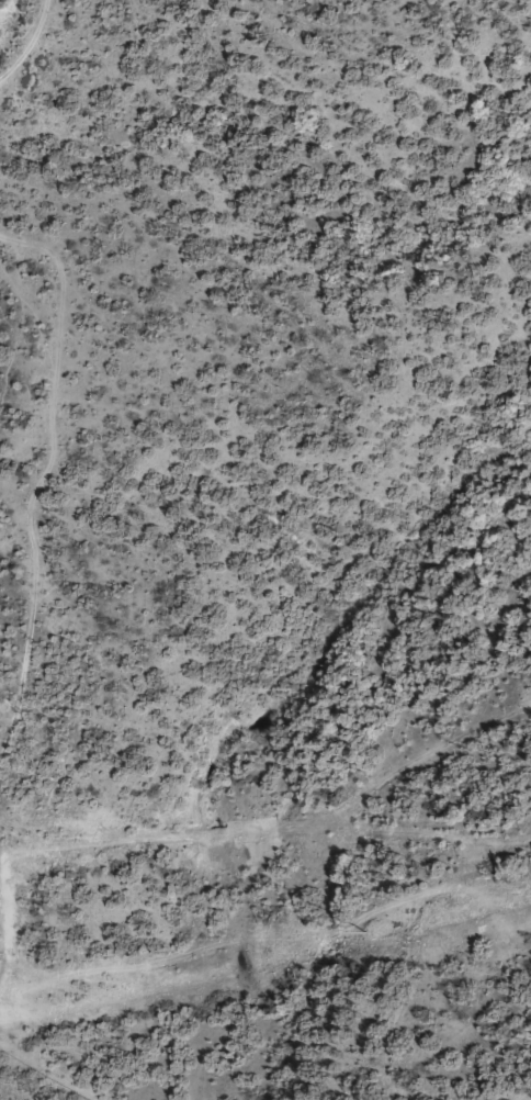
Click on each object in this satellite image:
power tower: (361, 933)

